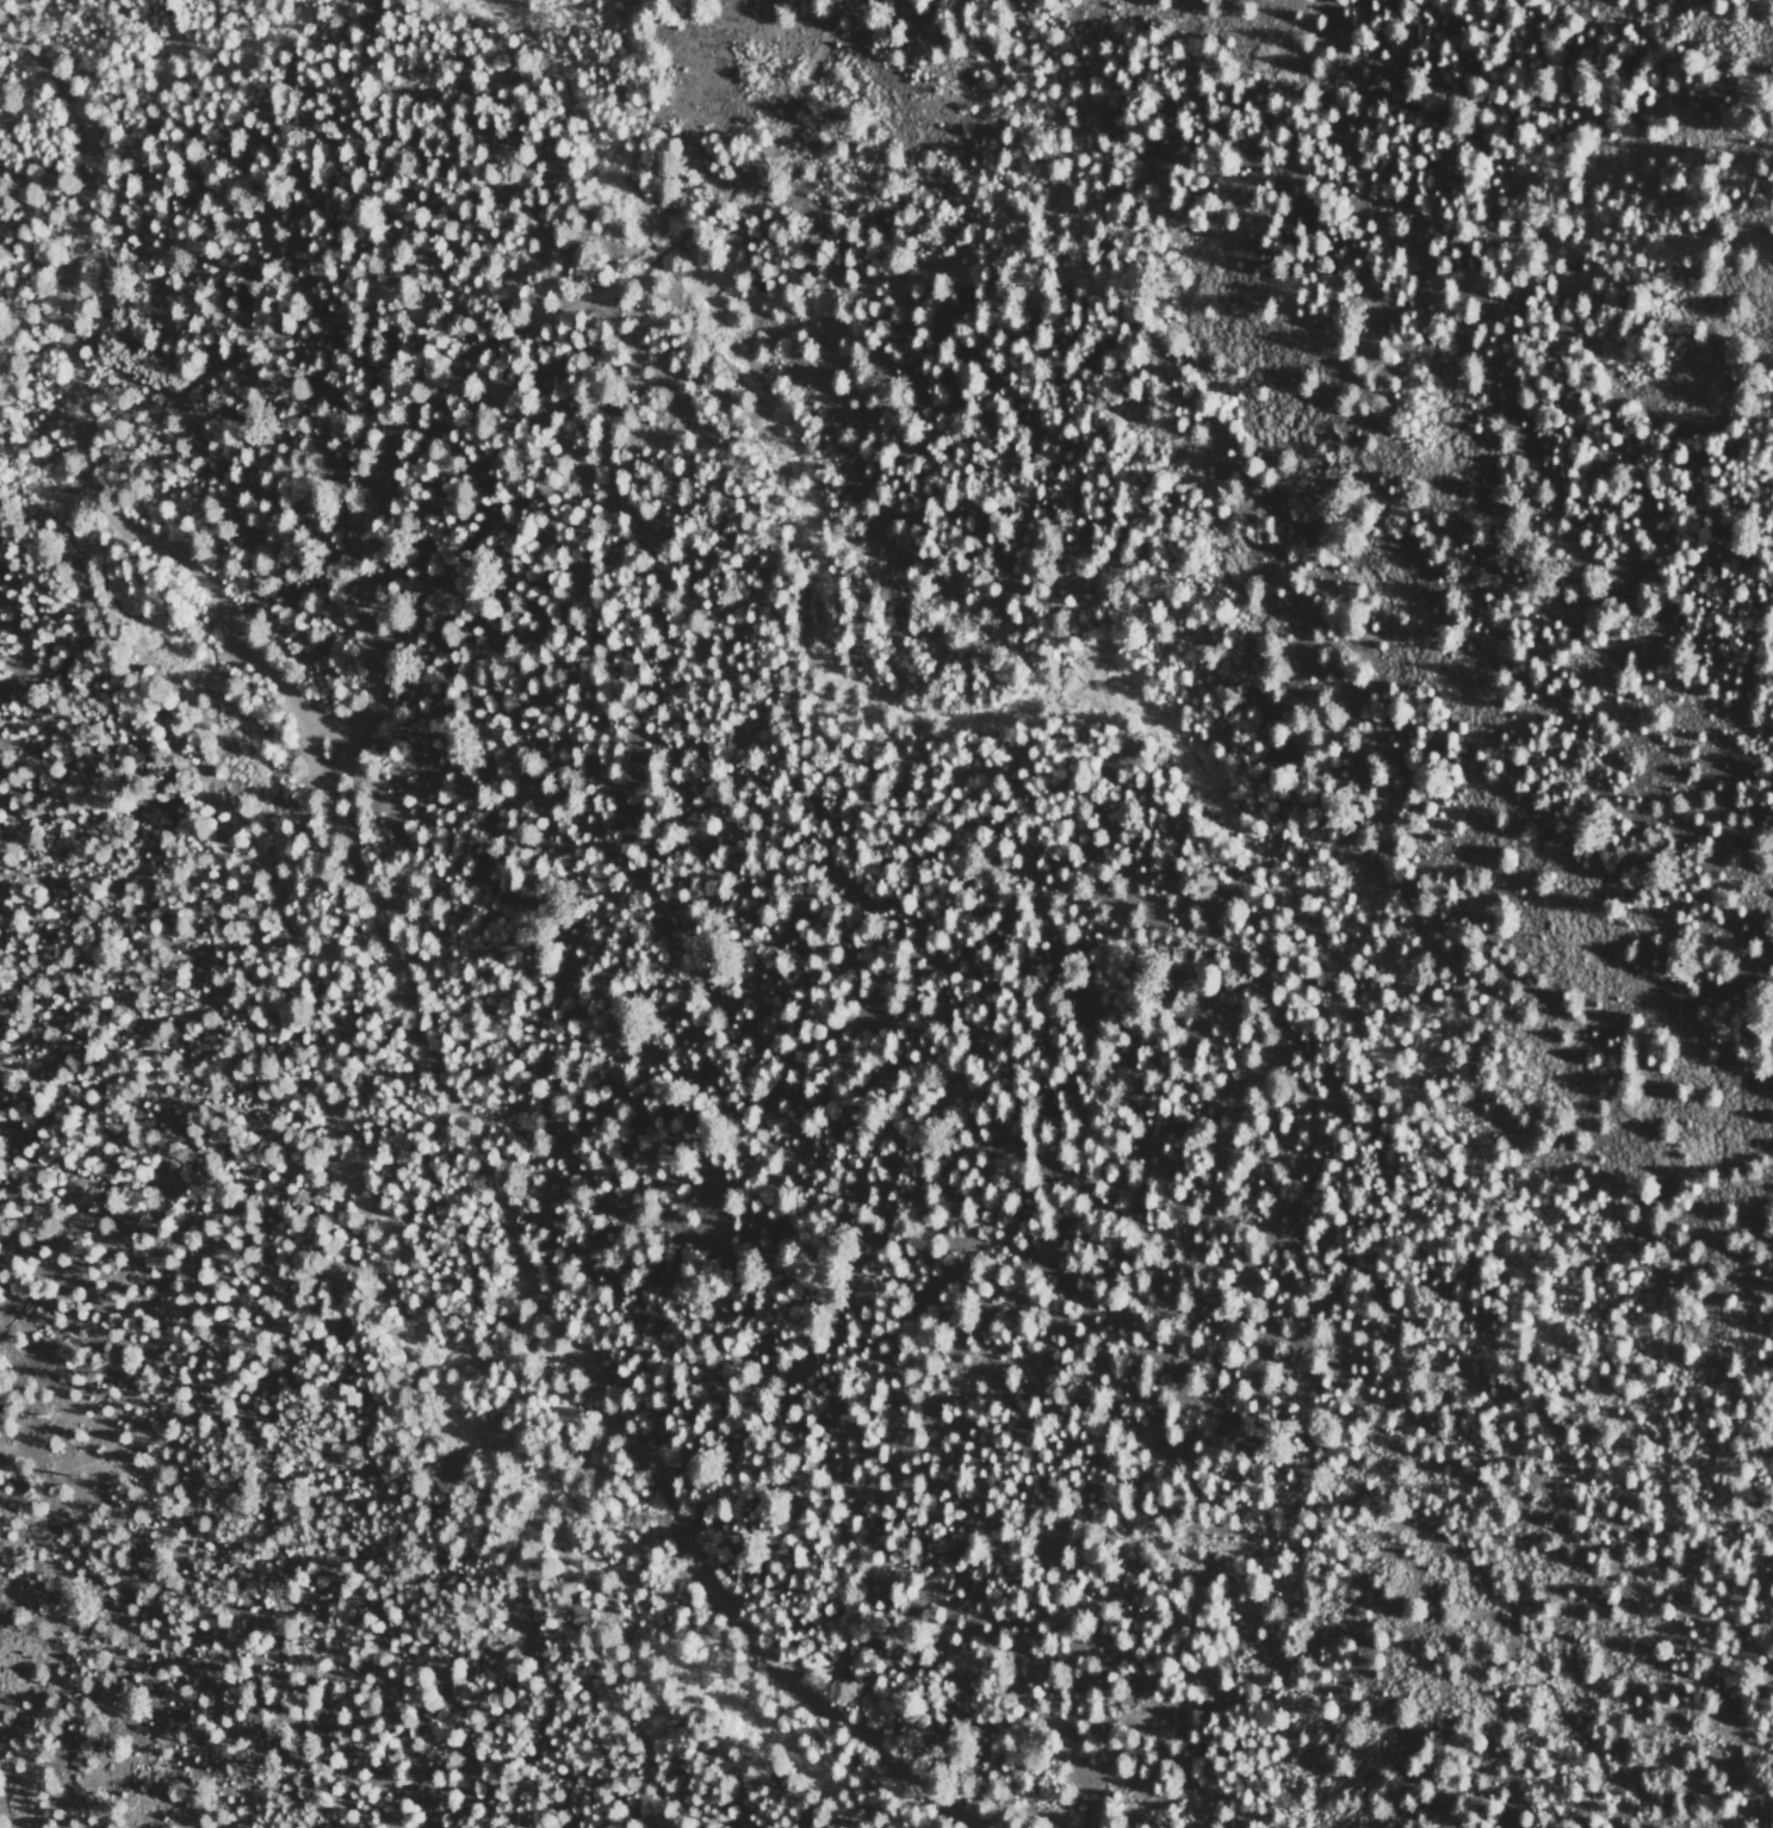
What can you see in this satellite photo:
road: (507, 342)
road: (396, 962)
road: (645, 1579)
road: (613, 1666)

